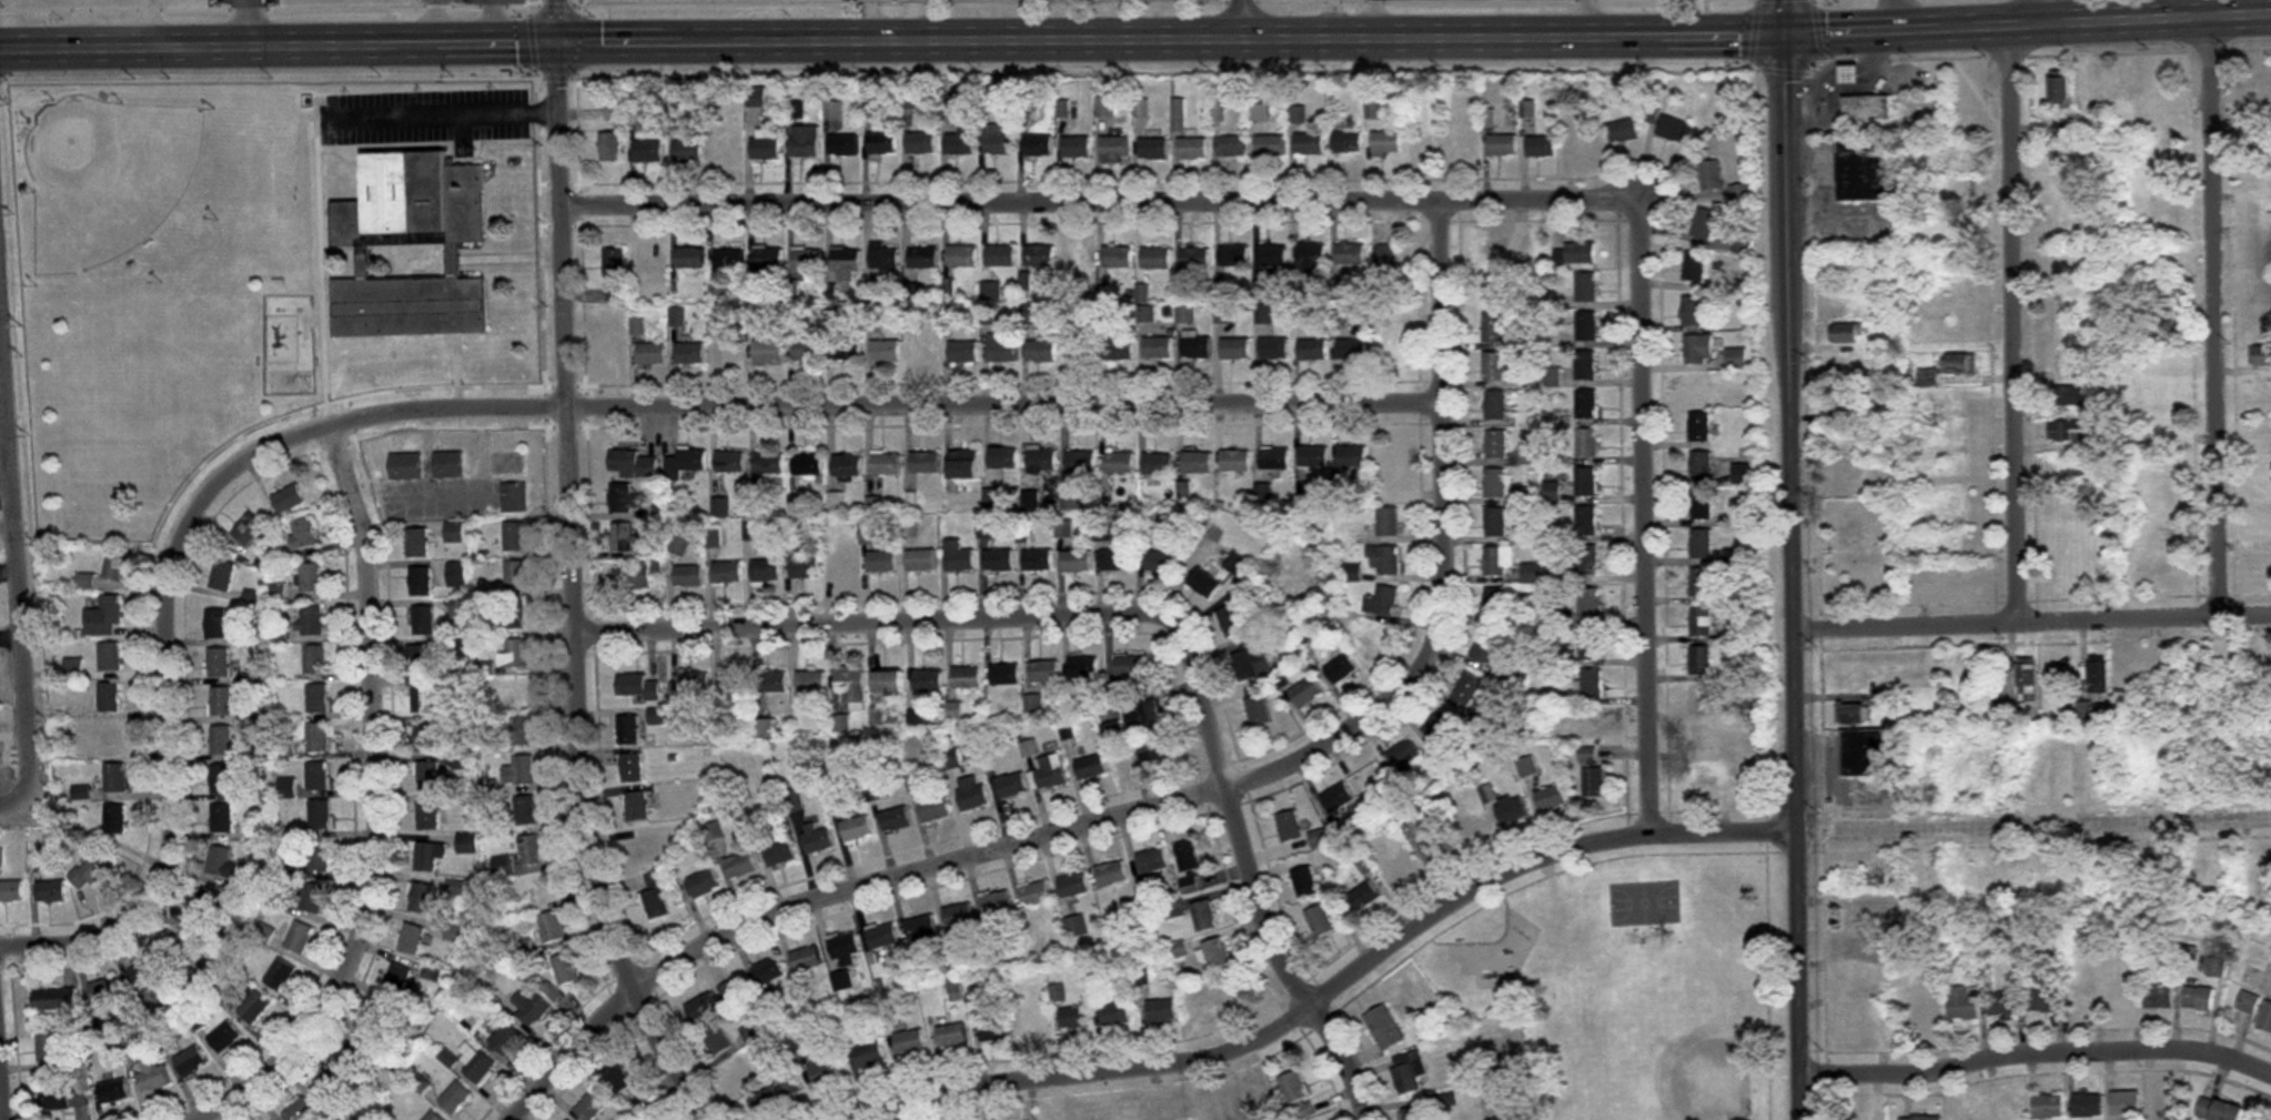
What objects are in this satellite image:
road: (1888, 16)
road: (1585, 18)
road: (1675, 18)
road: (1785, 18)
road: (1246, 19)
road: (1371, 19)
road: (252, 21)
road: (2028, 26)
traffic signals: (1786, 36)
road: (892, 37)
building: (1851, 74)
building: (2160, 85)
building: (2093, 88)
building: (2126, 88)
building: (2059, 90)
building: (758, 98)
building: (1867, 108)
building: (1108, 109)
road: (447, 111)
building: (616, 114)
building: (2161, 114)
building: (2137, 122)
building: (1673, 131)
building: (1624, 132)
building: (999, 140)
building: (962, 141)
building: (806, 143)
building: (1348, 143)
building: (882, 144)
building: (921, 144)
building: (1386, 144)
building: (1584, 144)
building: (1038, 145)
building: (1309, 145)
building: (613, 147)
building: (844, 147)
building: (1077, 147)
building: (1231, 147)
building: (1270, 147)
building: (1463, 147)
building: (1503, 147)
building: (1542, 148)
building: (766, 149)
building: (1116, 149)
building: (1192, 149)
building: (727, 150)
building: (1154, 150)
building: (650, 152)
building: (688, 152)
building: (2067, 152)
building: (1864, 168)
building: (1710, 175)
park: (105, 176)
building: (2065, 186)
building: (1740, 193)
road: (1106, 198)
building: (2061, 222)
building: (1705, 223)
building: (1957, 224)
park: (2252, 231)
building: (1742, 245)
building: (412, 249)
building: (1496, 253)
building: (1001, 255)
building: (1350, 255)
building: (1575, 255)
building: (962, 256)
building: (1040, 256)
building: (1273, 256)
building: (1312, 256)
building: (692, 258)
building: (769, 258)
building: (922, 258)
building: (1079, 258)
building: (1118, 258)
building: (1233, 258)
building: (730, 259)
building: (885, 259)
building: (1157, 259)
building: (1195, 259)
building: (1385, 259)
building: (809, 263)
building: (847, 263)
building: (1695, 266)
building: (617, 274)
building: (1586, 289)
building: (2162, 289)
building: (2061, 290)
building: (1494, 292)
road: (2013, 310)
building: (1695, 311)
building: (1225, 313)
road: (2216, 313)
building: (1147, 314)
building: (1187, 314)
building: (1264, 314)
building: (680, 316)
building: (1587, 326)
building: (1959, 327)
building: (1496, 331)
building: (1848, 332)
building: (618, 339)
building: (1386, 345)
building: (1001, 349)
building: (1158, 349)
building: (1197, 349)
building: (809, 350)
building: (848, 350)
building: (1120, 350)
building: (1237, 350)
building: (1274, 350)
building: (1699, 350)
building: (887, 351)
building: (926, 351)
building: (1313, 351)
building: (1351, 351)
building: (733, 352)
building: (770, 352)
building: (963, 352)
building: (1041, 352)
building: (1081, 352)
building: (693, 353)
building: (654, 354)
building: (2261, 355)
building: (2061, 360)
building: (1964, 364)
building: (1586, 365)
building: (1494, 366)
building: (1697, 389)
building: (2157, 391)
building: (2069, 396)
building: (1966, 398)
building: (1849, 403)
building: (1586, 404)
building: (1496, 405)
road: (887, 406)
building: (1702, 426)
building: (2070, 431)
building: (1966, 435)
building: (1587, 443)
building: (1496, 444)
building: (1530, 454)
building: (1352, 455)
building: (1314, 456)
building: (1003, 457)
building: (1275, 458)
building: (1041, 460)
building: (1237, 461)
building: (1387, 461)
building: (687, 462)
building: (734, 462)
building: (927, 462)
building: (1081, 462)
building: (771, 463)
building: (888, 463)
building: (966, 463)
building: (1120, 463)
building: (1198, 463)
building: (451, 464)
building: (635, 464)
building: (809, 464)
building: (1159, 464)
building: (407, 465)
building: (849, 465)
building: (1702, 465)
building: (1850, 475)
building: (1586, 481)
building: (1495, 482)
park: (2251, 490)
building: (1552, 492)
building: (516, 497)
building: (624, 497)
building: (290, 498)
building: (2069, 500)
building: (839, 501)
building: (1964, 503)
building: (1702, 504)
road: (1646, 516)
building: (1587, 519)
building: (1389, 521)
building: (1496, 522)
building: (250, 528)
building: (456, 532)
building: (303, 533)
building: (871, 534)
building: (517, 536)
building: (626, 536)
building: (420, 542)
building: (1702, 543)
building: (960, 556)
building: (1384, 557)
building: (1586, 558)
building: (923, 559)
building: (1000, 559)
building: (1039, 559)
building: (1117, 559)
building: (1497, 559)
building: (885, 561)
building: (1079, 561)
road: (18, 563)
building: (1161, 563)
building: (846, 564)
building: (117, 565)
building: (807, 567)
building: (769, 571)
building: (730, 573)
building: (458, 574)
building: (224, 575)
building: (518, 575)
road: (572, 575)
building: (639, 575)
building: (692, 576)
building: (313, 577)
road: (1791, 577)
building: (422, 581)
building: (85, 582)
building: (1205, 583)
building: (1702, 583)
building: (279, 594)
building: (1383, 601)
building: (1494, 602)
building: (1589, 602)
building: (462, 607)
building: (517, 614)
building: (104, 616)
building: (425, 618)
building: (312, 620)
building: (1232, 620)
building: (1702, 620)
road: (869, 623)
building: (216, 624)
road: (2031, 624)
building: (1372, 637)
building: (1589, 644)
building: (1488, 648)
building: (517, 654)
building: (110, 656)
building: (1252, 658)
building: (315, 659)
building: (424, 659)
building: (1700, 660)
building: (220, 663)
building: (1084, 666)
building: (1132, 666)
building: (1342, 668)
building: (1046, 670)
building: (1008, 674)
building: (2099, 676)
building: (969, 677)
building: (930, 679)
building: (776, 682)
building: (815, 682)
building: (2028, 682)
building: (736, 683)
building: (891, 683)
building: (1592, 683)
building: (693, 685)
building: (639, 686)
building: (855, 686)
building: (1467, 688)
building: (522, 692)
building: (1306, 692)
building: (110, 697)
building: (319, 698)
building: (424, 698)
building: (1700, 698)
building: (223, 702)
building: (1260, 710)
building: (1996, 713)
road: (176, 714)
building: (1851, 715)
building: (1148, 718)
building: (919, 719)
building: (1588, 722)
building: (767, 728)
building: (1441, 728)
building: (525, 730)
building: (630, 730)
building: (112, 737)
building: (427, 737)
building: (1699, 737)
building: (319, 738)
building: (222, 740)
building: (1154, 750)
building: (1873, 753)
building: (1405, 754)
building: (1587, 756)
building: (953, 760)
building: (634, 766)
building: (1093, 767)
building: (523, 770)
building: (1051, 773)
building: (430, 776)
building: (115, 777)
building: (319, 777)
building: (222, 779)
building: (1705, 779)
building: (1594, 781)
building: (1015, 786)
building: (286, 789)
building: (975, 793)
road: (1190, 796)
building: (1339, 798)
building: (1552, 798)
building: (837, 799)
road: (378, 804)
building: (639, 806)
building: (528, 809)
building: (938, 809)
building: (1512, 809)
building: (321, 815)
building: (430, 815)
building: (114, 818)
building: (222, 818)
building: (898, 818)
building: (1291, 826)
building: (1474, 828)
building: (860, 829)
building: (1338, 829)
building: (820, 838)
building: (1320, 838)
building: (468, 842)
building: (1436, 844)
building: (533, 848)
building: (647, 852)
building: (783, 852)
building: (431, 855)
building: (1190, 856)
building: (321, 858)
road: (1535, 859)
building: (1155, 860)
building: (222, 862)
building: (1365, 864)
building: (743, 865)
building: (504, 866)
building: (1404, 869)
building: (92, 870)
building: (2160, 872)
building: (1114, 874)
road: (1252, 874)
building: (1305, 875)
building: (1865, 880)
building: (706, 882)
building: (1077, 886)
building: (11, 890)
building: (51, 891)
building: (657, 895)
building: (1038, 895)
building: (1365, 895)
building: (422, 897)
building: (314, 898)
building: (999, 904)
building: (210, 906)
building: (1178, 909)
building: (1207, 916)
building: (962, 917)
building: (1857, 919)
building: (1321, 920)
building: (554, 926)
building: (1079, 927)
building: (923, 928)
building: (264, 934)
building: (454, 934)
building: (885, 936)
building: (300, 938)
building: (413, 939)
building: (180, 942)
building: (846, 945)
building: (1861, 948)
building: (1217, 953)
building: (809, 958)
building: (567, 968)
building: (2217, 968)
building: (770, 971)
building: (148, 975)
building: (280, 975)
building: (397, 979)
park: (1634, 980)
building: (105, 990)
building: (1215, 991)
building: (1058, 993)
building: (2121, 997)
building: (2160, 997)
building: (2082, 998)
building: (2200, 998)
building: (54, 1000)
building: (2043, 1000)
building: (715, 1002)
building: (2003, 1002)
building: (2249, 1002)
building: (1964, 1003)
building: (532, 1007)
building: (255, 1008)
building: (1163, 1010)
building: (1117, 1015)
building: (1924, 1015)
building: (381, 1018)
building: (1076, 1018)
building: (2265, 1018)
building: (1036, 1025)
building: (1384, 1028)
building: (995, 1029)
building: (952, 1036)
building: (225, 1037)
building: (507, 1039)
building: (717, 1039)
building: (910, 1042)
building: (48, 1047)
road: (6, 1048)
building: (355, 1052)
road: (2035, 1052)
building: (869, 1055)
building: (191, 1062)
building: (478, 1064)
building: (825, 1070)
building: (737, 1072)
building: (1407, 1072)
building: (153, 1077)
building: (619, 1078)
building: (330, 1084)
building: (789, 1086)
building: (1295, 1087)
building: (113, 1091)
building: (62, 1093)
building: (456, 1097)
building: (1256, 1098)
building: (764, 1101)
building: (2127, 1103)
building: (2166, 1103)
building: (593, 1106)
building: (2088, 1106)
building: (2049, 1107)
building: (1218, 1109)
building: (300, 1110)
building: (1305, 1110)
building: (2219, 1110)
building: (2008, 1111)
building: (1416, 1113)
building: (1967, 1116)
building: (434, 1117)
building: (1865, 1118)
building: (1921, 1118)

